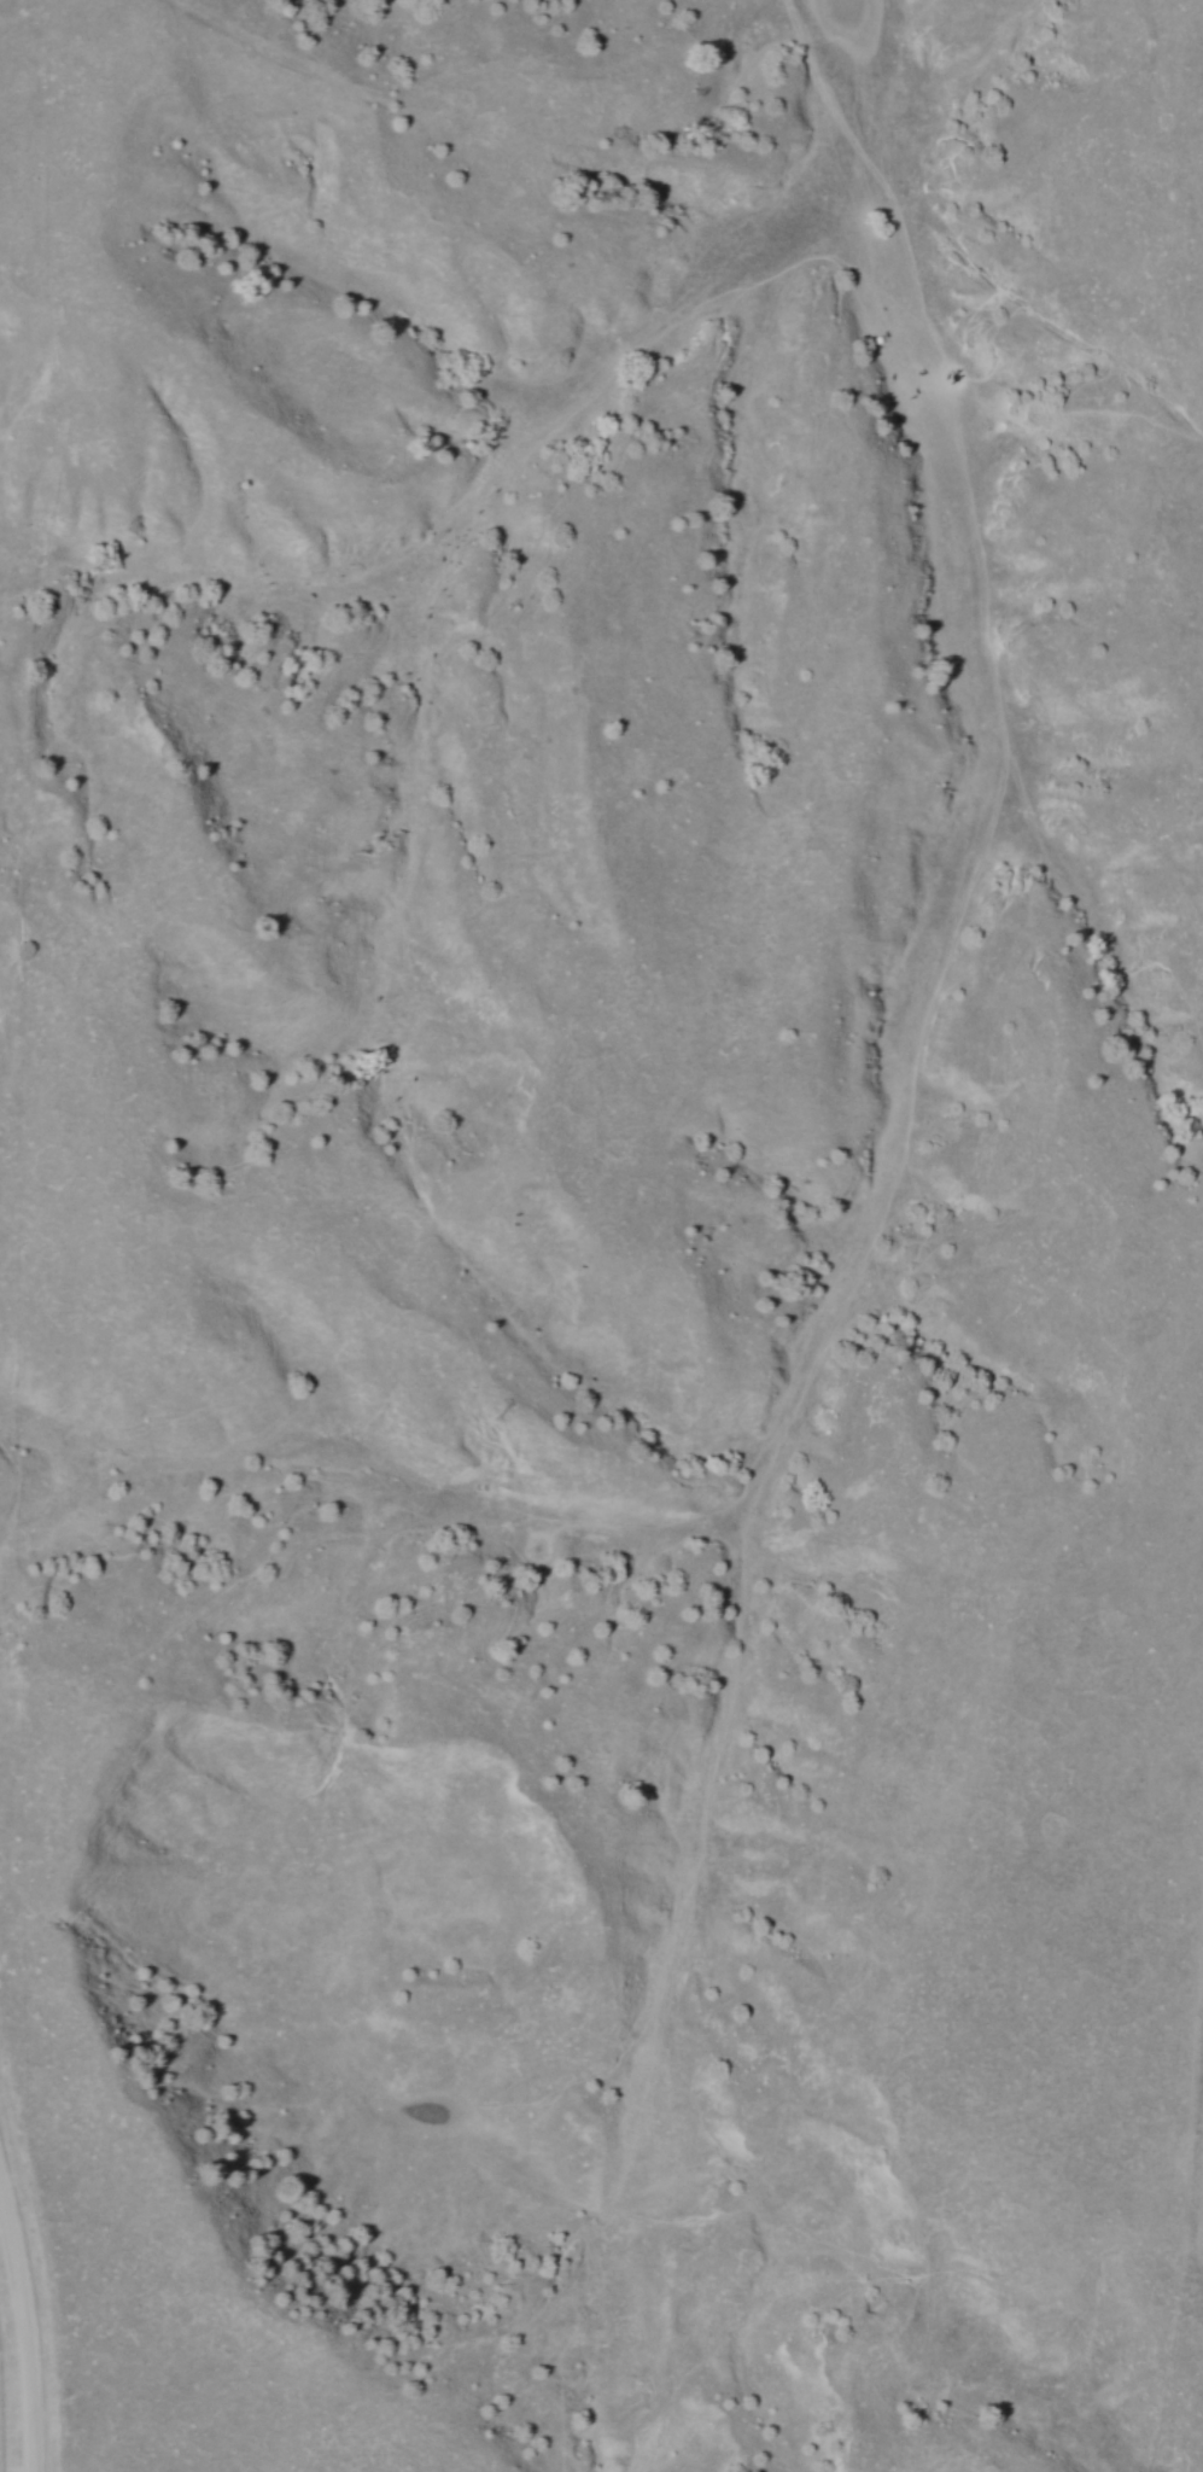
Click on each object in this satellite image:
road: (30, 2325)

